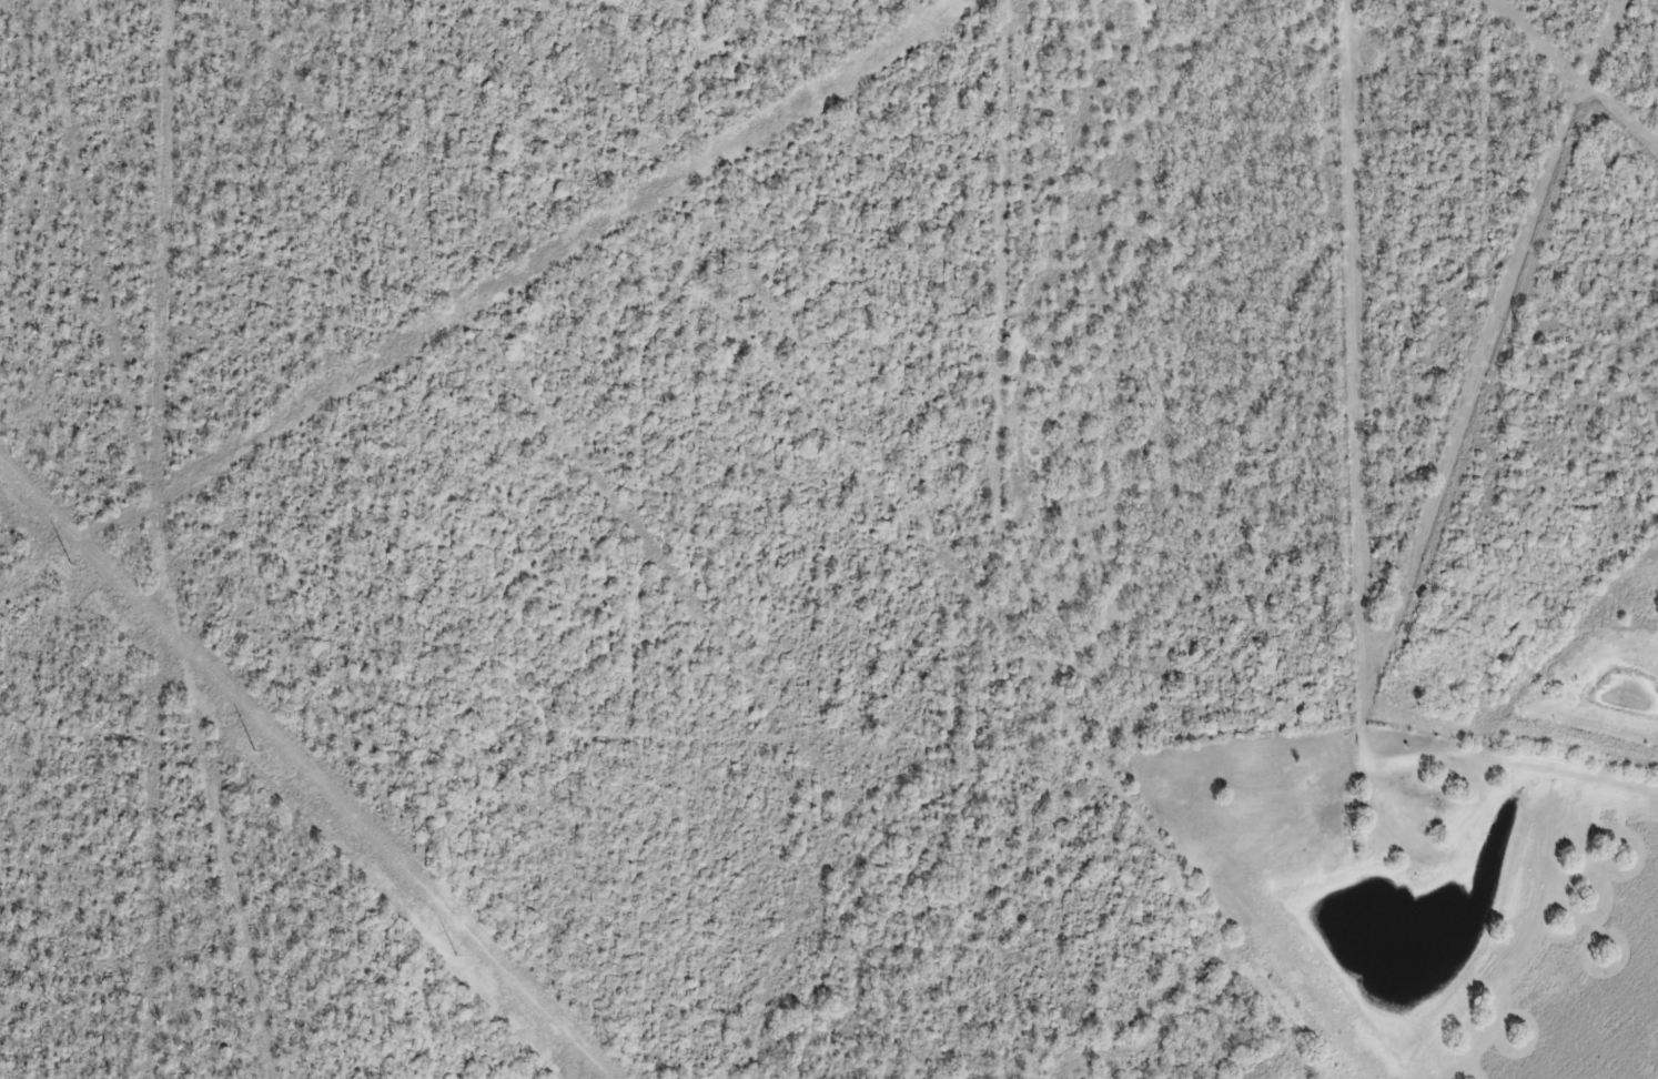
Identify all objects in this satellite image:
power tower: (70, 564)
power tower: (255, 753)
power tower: (455, 955)

